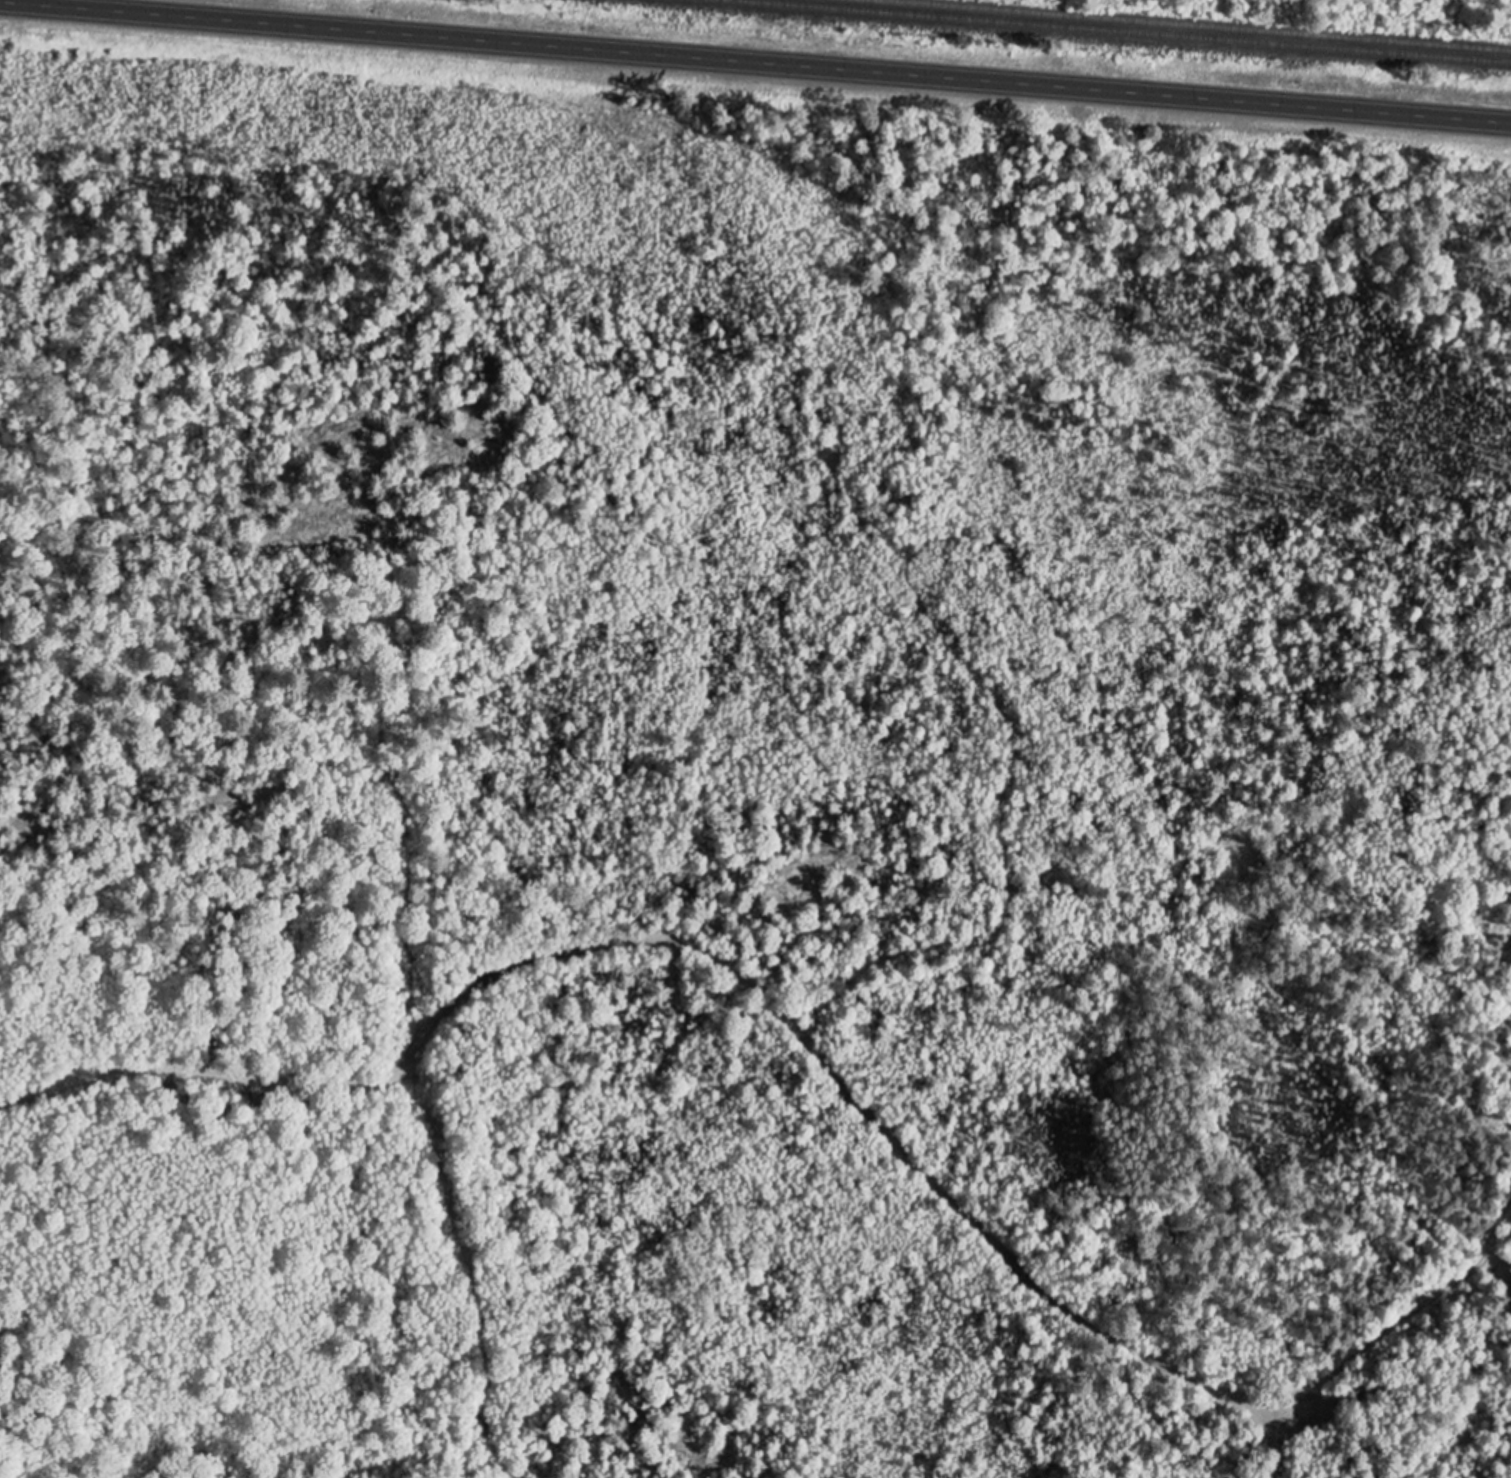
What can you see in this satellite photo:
railway: (1184, 25)
railway: (1109, 32)
road: (755, 63)
road: (719, 956)
road: (1490, 1267)
road: (1402, 1320)

